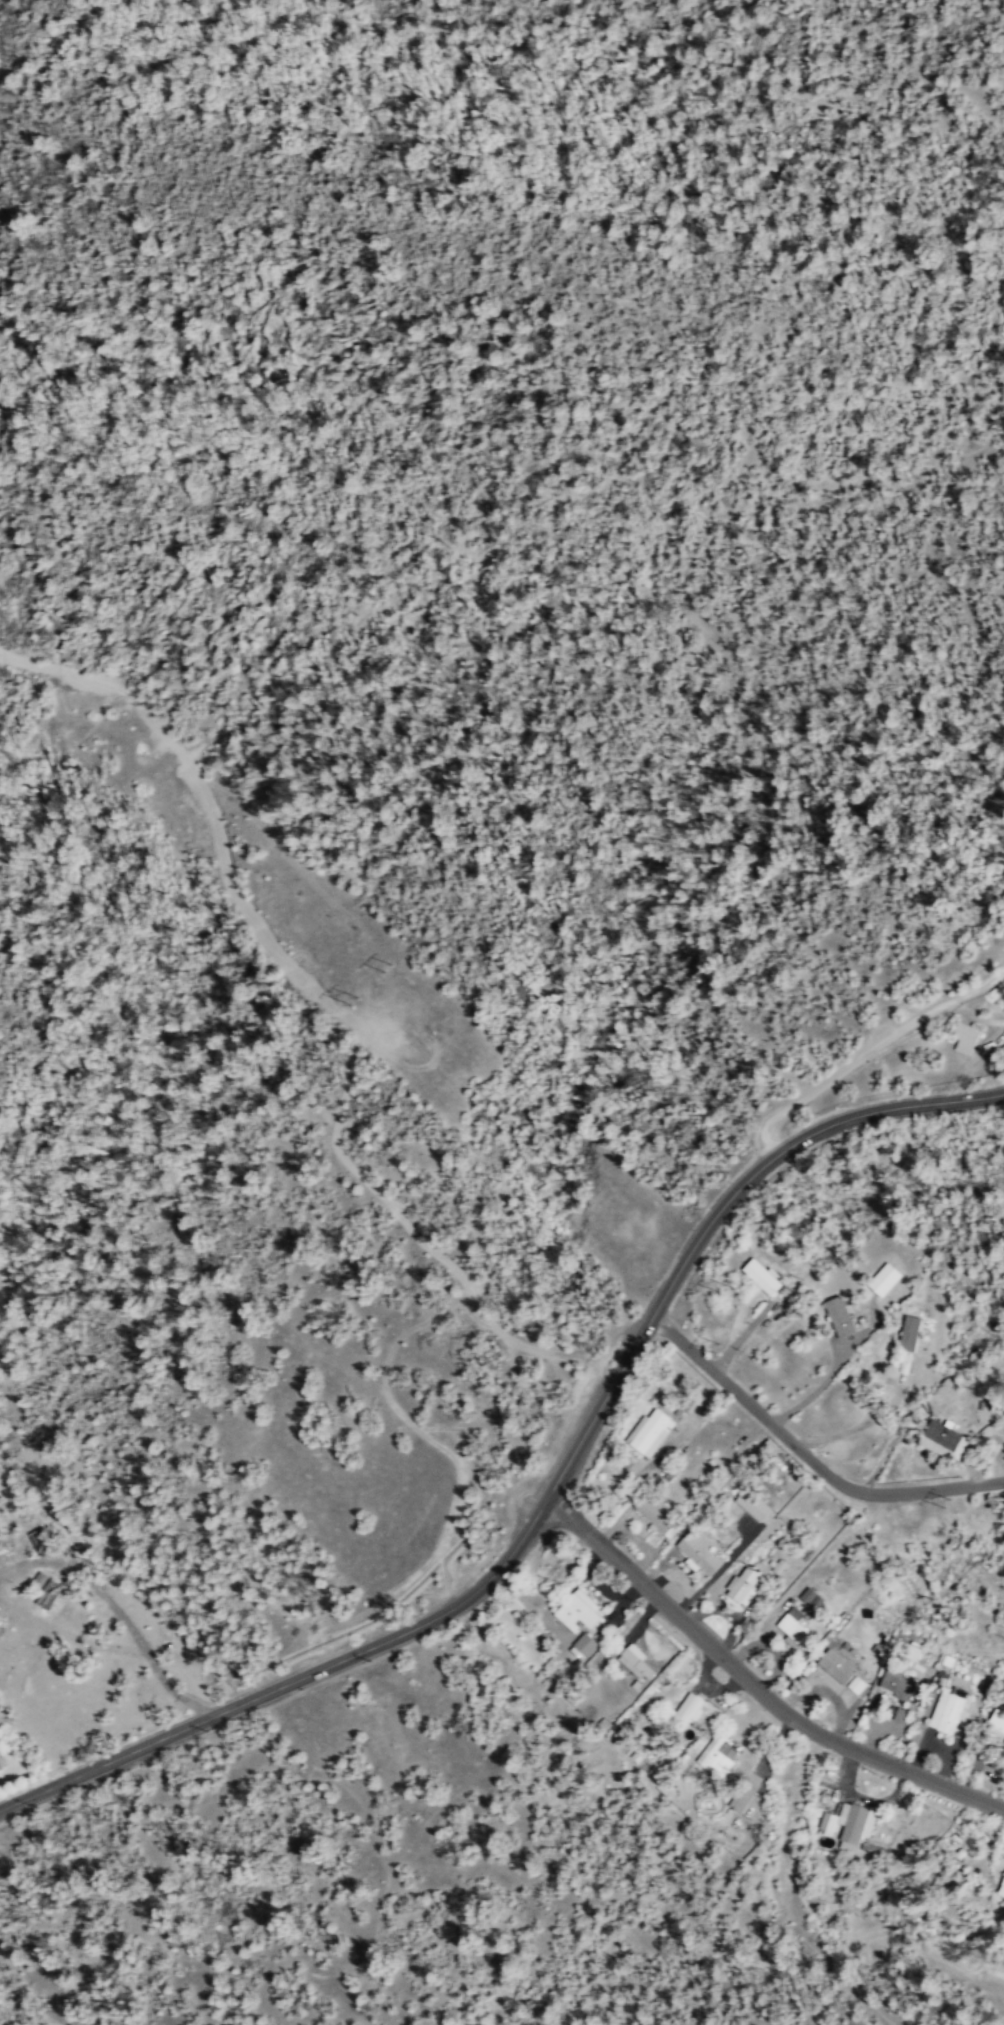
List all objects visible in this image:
road: (902, 483)
road: (215, 805)
power tower: (389, 969)
power tower: (354, 1002)
road: (975, 1014)
building: (963, 1037)
road: (871, 1052)
road: (380, 1194)
building: (759, 1275)
building: (881, 1278)
power tower: (726, 1288)
building: (837, 1315)
building: (907, 1331)
power tower: (716, 1348)
road: (561, 1354)
road: (824, 1381)
road: (867, 1415)
building: (648, 1431)
building: (942, 1439)
road: (804, 1460)
road: (551, 1493)
power tower: (946, 1501)
building: (750, 1503)
building: (655, 1513)
road: (448, 1533)
building: (696, 1550)
road: (476, 1565)
building: (740, 1584)
building: (44, 1589)
building: (810, 1597)
building: (576, 1610)
building: (793, 1628)
building: (0, 1630)
building: (584, 1643)
building: (633, 1660)
building: (895, 1681)
road: (753, 1687)
building: (684, 1710)
building: (948, 1710)
building: (995, 1719)
building: (716, 1754)
building: (0, 1767)
building: (739, 1799)
building: (848, 1823)
building: (1000, 1886)
road: (129, 1914)
road: (374, 1930)
road: (352, 2001)
road: (346, 2017)

